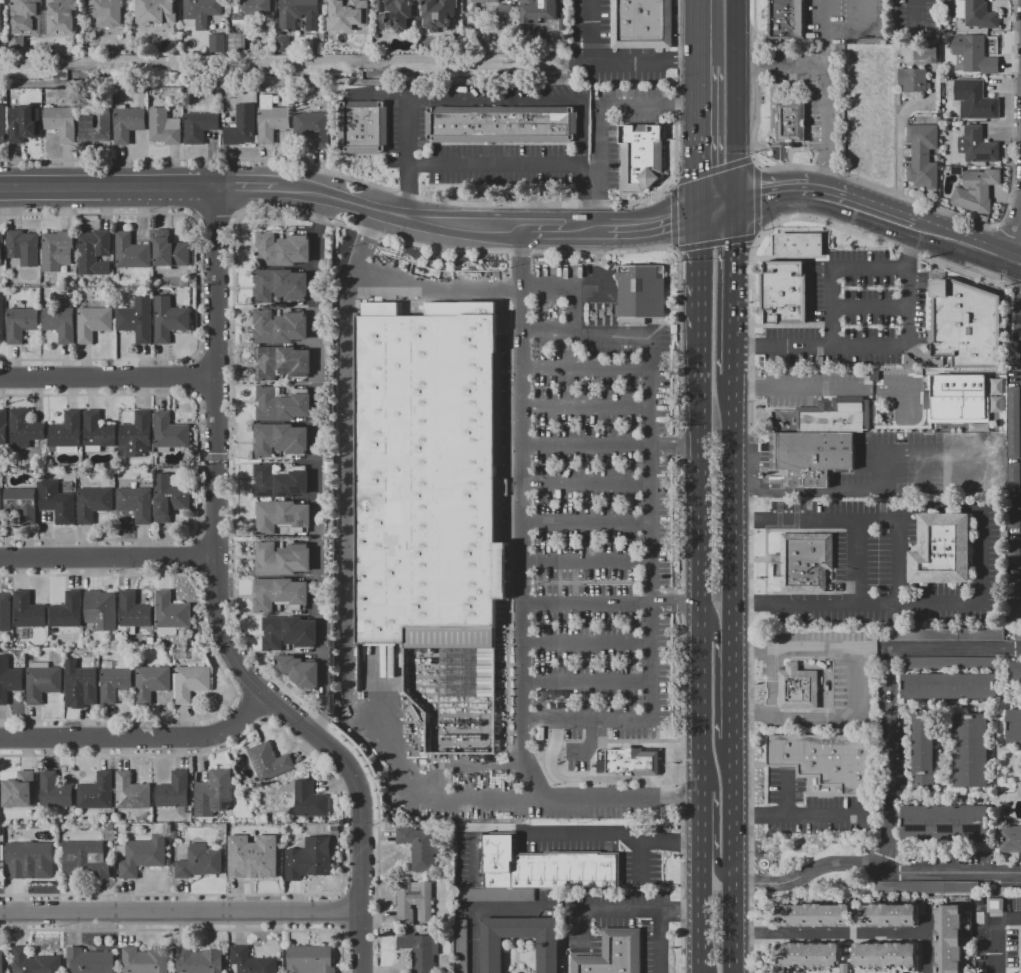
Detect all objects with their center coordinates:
building: (485, 1)
building: (347, 7)
building: (248, 10)
building: (201, 11)
building: (539, 11)
building: (156, 12)
building: (504, 12)
building: (108, 13)
building: (293, 13)
building: (438, 14)
building: (394, 15)
road: (862, 16)
building: (974, 16)
building: (26, 17)
road: (918, 17)
building: (61, 18)
building: (786, 18)
building: (0, 19)
building: (641, 24)
road: (824, 31)
building: (216, 43)
building: (237, 43)
building: (283, 45)
building: (924, 55)
building: (974, 57)
road: (617, 63)
road: (779, 63)
building: (913, 80)
road: (495, 99)
building: (974, 100)
road: (733, 101)
road: (686, 104)
road: (697, 105)
road: (599, 118)
building: (271, 120)
building: (789, 122)
building: (23, 123)
building: (61, 123)
building: (2, 124)
building: (127, 124)
road: (826, 124)
building: (500, 125)
building: (241, 126)
building: (96, 127)
building: (164, 127)
building: (199, 127)
building: (362, 127)
building: (313, 128)
road: (407, 131)
road: (674, 131)
building: (977, 146)
building: (922, 155)
building: (639, 157)
road: (495, 163)
road: (583, 166)
traffic signals: (698, 172)
road: (869, 184)
road: (591, 185)
road: (778, 185)
road: (247, 186)
road: (109, 187)
traffic signals: (762, 187)
road: (407, 190)
building: (976, 190)
road: (443, 201)
road: (872, 201)
road: (715, 207)
road: (398, 215)
road: (599, 217)
traffic signals: (672, 218)
road: (869, 224)
road: (611, 229)
road: (963, 233)
road: (1006, 238)
road: (1011, 240)
road: (411, 242)
building: (800, 244)
traffic signals: (733, 246)
building: (23, 247)
building: (1, 248)
building: (169, 250)
building: (56, 251)
building: (284, 251)
building: (94, 252)
building: (131, 252)
road: (1012, 263)
road: (830, 267)
building: (281, 286)
road: (733, 289)
road: (479, 291)
building: (783, 292)
building: (640, 294)
road: (698, 297)
road: (870, 307)
building: (609, 311)
road: (1018, 312)
building: (601, 314)
parking lot: (855, 314)
building: (594, 316)
building: (2, 318)
building: (168, 319)
building: (136, 320)
building: (60, 323)
building: (93, 323)
building: (20, 324)
building: (966, 324)
building: (281, 328)
road: (548, 330)
road: (872, 346)
building: (1012, 352)
building: (284, 364)
road: (587, 367)
road: (106, 376)
building: (995, 386)
parking lot: (806, 387)
road: (794, 389)
building: (957, 399)
building: (995, 404)
road: (587, 406)
building: (284, 407)
building: (834, 416)
building: (1013, 423)
building: (3, 427)
building: (24, 429)
building: (97, 432)
building: (169, 432)
building: (66, 433)
building: (135, 437)
building: (282, 441)
road: (610, 444)
road: (882, 453)
building: (811, 456)
road: (751, 463)
road: (320, 467)
parking lot: (894, 468)
building: (1014, 476)
building: (282, 483)
road: (587, 484)
building: (432, 491)
road: (782, 493)
building: (169, 498)
building: (56, 502)
building: (135, 503)
building: (21, 504)
building: (93, 504)
road: (732, 504)
building: (0, 507)
building: (1014, 516)
building: (284, 518)
parking lot: (600, 518)
road: (587, 522)
road: (651, 531)
building: (941, 550)
building: (1014, 551)
building: (284, 560)
road: (107, 561)
road: (587, 561)
building: (803, 562)
road: (859, 562)
parking lot: (891, 566)
road: (345, 576)
road: (699, 585)
building: (281, 595)
road: (903, 595)
road: (523, 596)
building: (1014, 601)
road: (817, 604)
road: (611, 605)
road: (216, 606)
building: (100, 609)
building: (67, 611)
building: (5, 612)
building: (170, 612)
building: (132, 613)
building: (26, 616)
road: (711, 626)
building: (291, 634)
building: (946, 635)
building: (1018, 635)
building: (150, 640)
road: (587, 642)
building: (179, 654)
building: (950, 663)
road: (768, 664)
road: (849, 666)
parking lot: (837, 669)
building: (302, 672)
building: (1015, 672)
building: (9, 679)
road: (587, 680)
building: (42, 681)
building: (114, 682)
building: (151, 682)
building: (190, 682)
building: (83, 684)
building: (948, 686)
road: (732, 687)
building: (797, 688)
road: (892, 696)
building: (1013, 727)
road: (140, 739)
road: (639, 740)
road: (590, 742)
building: (970, 750)
building: (923, 753)
building: (827, 759)
building: (268, 762)
building: (627, 762)
road: (578, 780)
building: (19, 791)
building: (54, 791)
building: (173, 791)
building: (131, 792)
building: (96, 793)
building: (213, 793)
road: (786, 794)
building: (309, 800)
parking lot: (609, 803)
parking lot: (812, 808)
road: (799, 816)
road: (700, 821)
building: (944, 823)
building: (110, 827)
building: (269, 830)
road: (614, 833)
building: (174, 835)
building: (1010, 839)
building: (419, 847)
building: (142, 856)
road: (732, 856)
building: (29, 858)
building: (252, 858)
building: (308, 859)
building: (85, 860)
building: (199, 862)
road: (720, 863)
building: (544, 865)
road: (808, 873)
road: (952, 873)
building: (928, 887)
building: (497, 895)
building: (413, 901)
building: (994, 906)
road: (475, 909)
road: (623, 910)
road: (180, 913)
road: (700, 914)
building: (812, 915)
building: (888, 915)
road: (1008, 916)
parking lot: (621, 923)
road: (830, 934)
building: (948, 939)
road: (658, 941)
road: (928, 941)
road: (995, 945)
building: (461, 946)
building: (420, 950)
building: (613, 954)
building: (884, 955)
building: (491, 956)
building: (806, 956)
building: (310, 959)
building: (89, 961)
building: (144, 961)
building: (198, 961)
building: (1, 962)
building: (34, 962)
building: (249, 962)
building: (845, 968)

